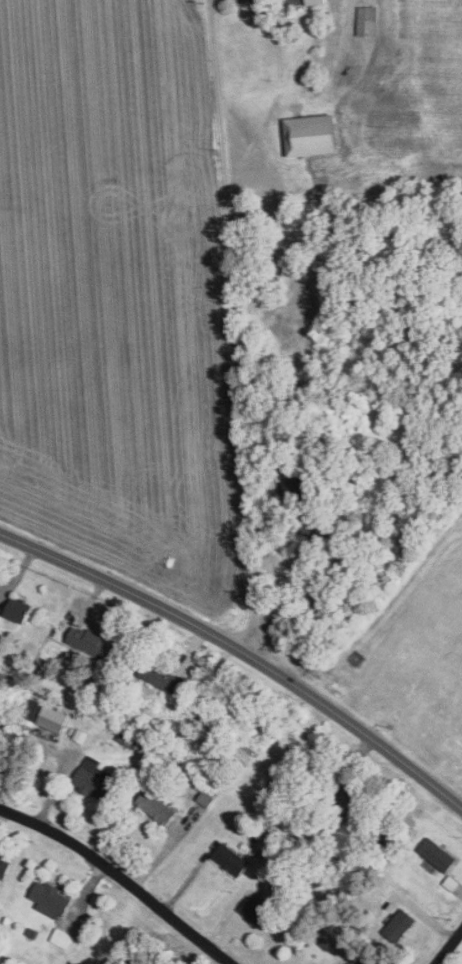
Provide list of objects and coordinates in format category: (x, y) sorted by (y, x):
building: (316, 1)
building: (269, 13)
building: (368, 18)
building: (315, 133)
road: (233, 329)
building: (300, 488)
building: (22, 608)
building: (0, 615)
building: (91, 639)
road: (242, 650)
building: (171, 679)
building: (31, 710)
building: (55, 718)
building: (81, 734)
building: (95, 777)
building: (207, 797)
building: (159, 806)
building: (440, 854)
building: (232, 858)
building: (5, 864)
road: (120, 878)
building: (452, 881)
building: (52, 897)
building: (255, 908)
building: (63, 936)
road: (448, 946)
building: (367, 961)
building: (353, 963)

